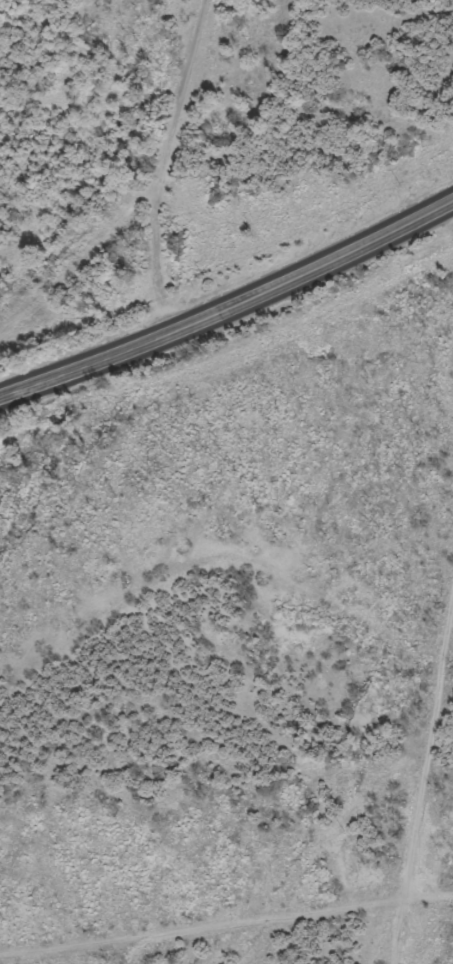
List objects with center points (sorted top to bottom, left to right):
road: (190, 61)
road: (159, 225)
road: (231, 305)
road: (419, 783)

